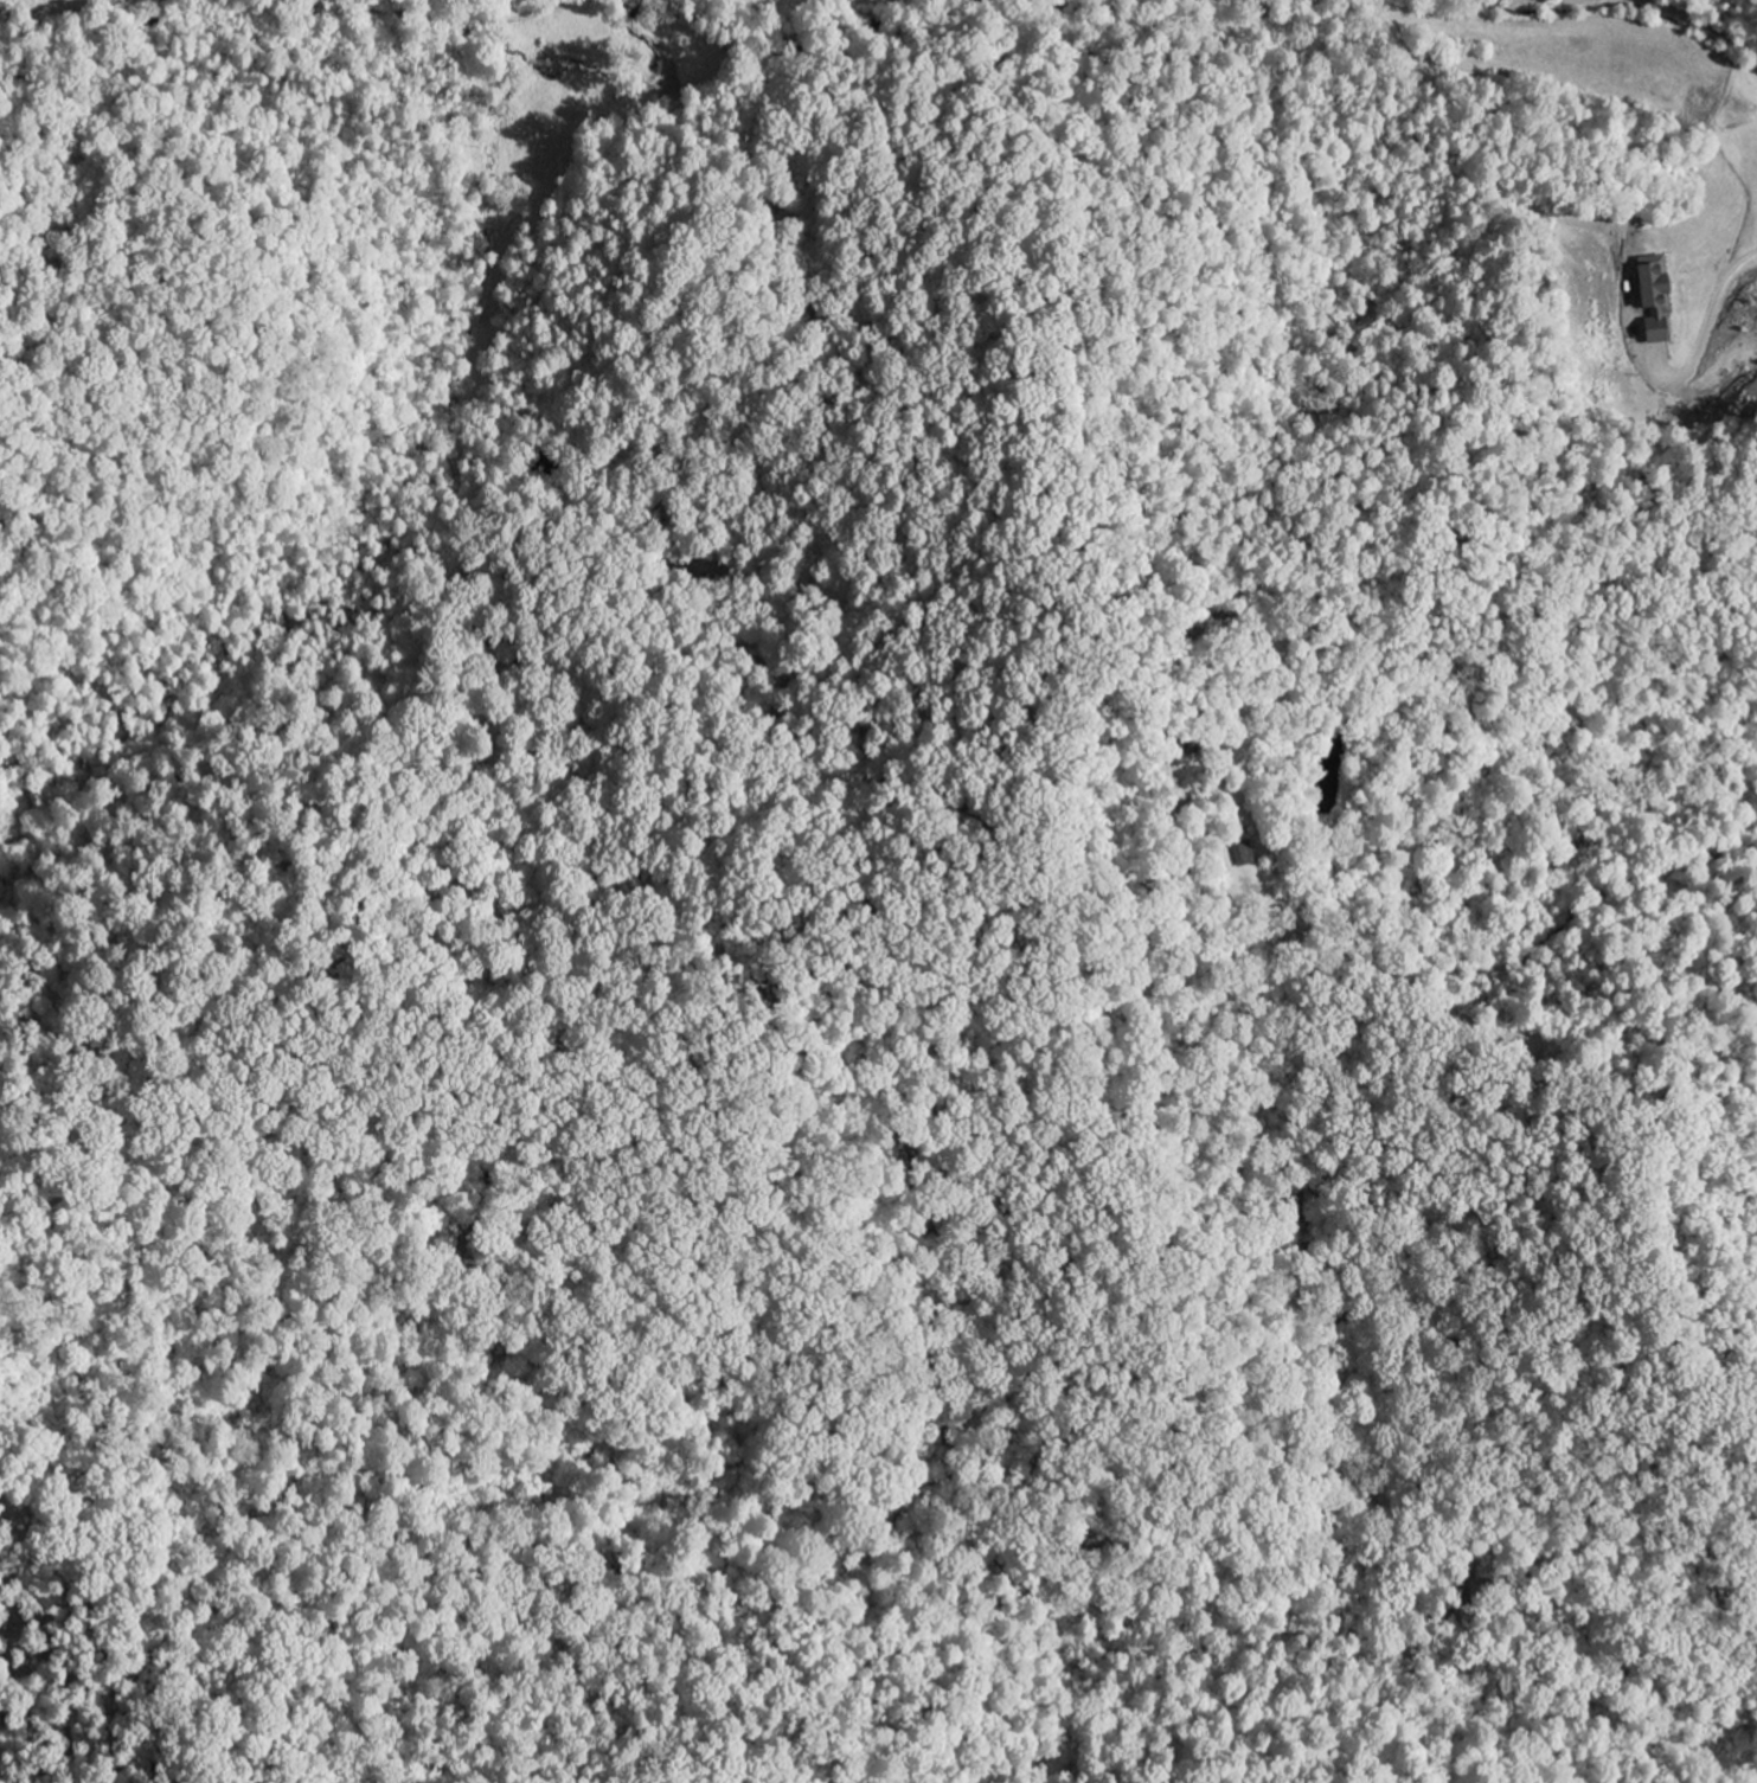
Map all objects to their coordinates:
road: (983, 18)
road: (1698, 20)
road: (730, 40)
building: (1649, 297)
building: (1243, 853)

